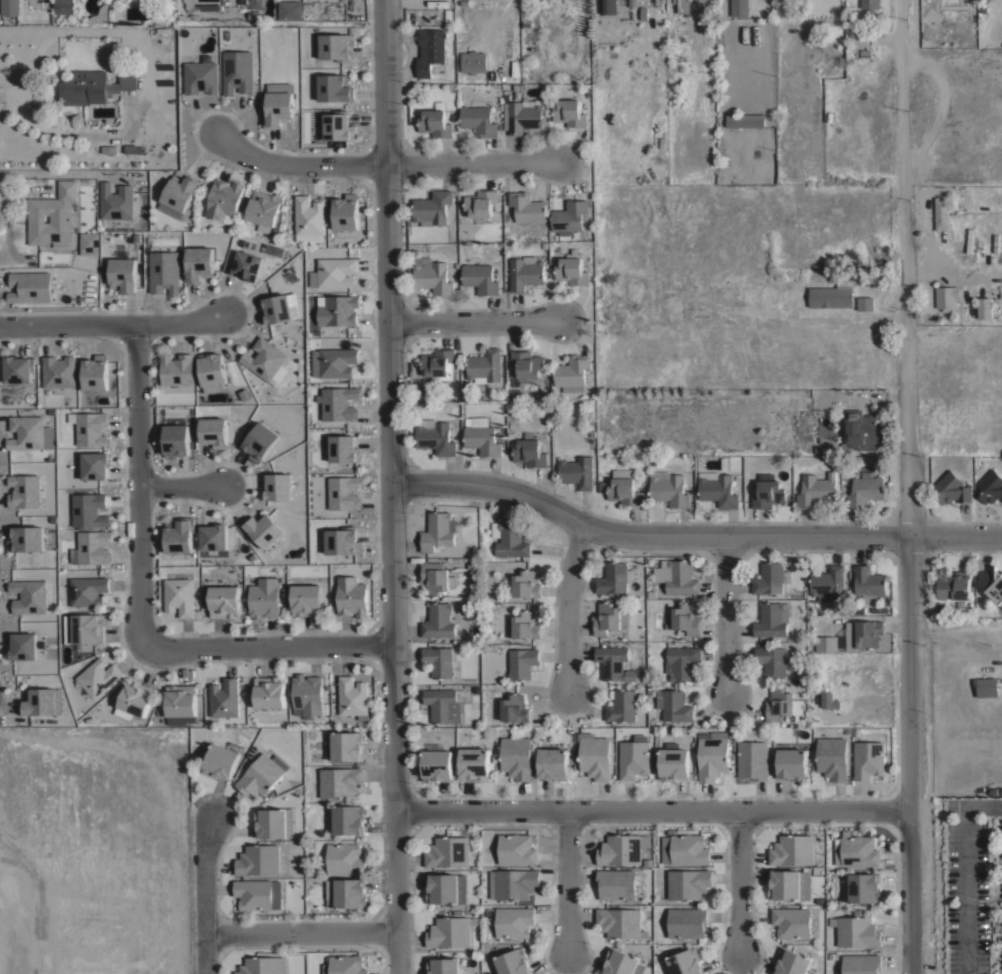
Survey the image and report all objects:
building: (464, 1)
building: (632, 3)
building: (189, 4)
building: (255, 4)
building: (870, 5)
building: (64, 6)
building: (607, 6)
building: (682, 6)
building: (9, 7)
building: (739, 7)
building: (289, 9)
building: (100, 15)
building: (155, 21)
building: (859, 37)
building: (335, 46)
building: (430, 50)
building: (473, 61)
building: (237, 71)
building: (200, 77)
building: (123, 81)
building: (84, 87)
building: (334, 88)
building: (277, 109)
building: (569, 113)
building: (523, 114)
building: (478, 120)
building: (744, 120)
building: (435, 123)
building: (337, 127)
building: (133, 148)
road: (472, 162)
road: (292, 165)
building: (179, 193)
road: (901, 194)
building: (224, 199)
building: (115, 201)
building: (481, 202)
building: (432, 206)
building: (527, 207)
building: (264, 208)
building: (345, 213)
building: (941, 213)
building: (52, 215)
building: (308, 215)
building: (569, 216)
building: (89, 241)
building: (198, 264)
building: (246, 265)
building: (572, 269)
building: (335, 271)
building: (162, 272)
building: (525, 272)
building: (122, 274)
building: (432, 275)
building: (480, 278)
building: (29, 287)
building: (789, 293)
building: (750, 294)
building: (770, 294)
building: (832, 295)
building: (948, 296)
building: (865, 303)
building: (984, 307)
building: (277, 309)
building: (338, 310)
road: (110, 322)
road: (474, 324)
building: (264, 359)
building: (333, 362)
building: (527, 363)
building: (439, 364)
building: (484, 365)
building: (17, 369)
building: (174, 369)
building: (211, 369)
building: (57, 371)
building: (93, 372)
building: (572, 373)
building: (67, 396)
building: (339, 402)
building: (88, 427)
building: (213, 431)
building: (859, 431)
building: (28, 432)
building: (435, 436)
building: (481, 436)
building: (174, 441)
building: (260, 442)
building: (343, 449)
building: (529, 453)
building: (94, 465)
building: (577, 472)
road: (138, 482)
road: (180, 484)
building: (274, 487)
road: (389, 487)
building: (624, 487)
building: (991, 487)
building: (952, 489)
building: (22, 490)
building: (670, 490)
building: (718, 490)
building: (815, 490)
building: (865, 490)
building: (341, 492)
building: (768, 492)
building: (86, 509)
building: (262, 529)
building: (438, 531)
building: (212, 536)
building: (177, 537)
road: (691, 538)
building: (24, 539)
building: (511, 540)
building: (341, 542)
building: (91, 548)
building: (677, 576)
building: (435, 577)
building: (612, 578)
building: (770, 578)
building: (828, 583)
building: (868, 583)
building: (526, 584)
building: (990, 584)
building: (955, 586)
building: (87, 590)
building: (27, 594)
building: (179, 596)
building: (352, 596)
building: (264, 597)
road: (908, 599)
building: (306, 600)
building: (224, 601)
road: (568, 608)
road: (726, 616)
building: (609, 618)
building: (686, 618)
building: (771, 619)
building: (438, 621)
building: (522, 625)
building: (88, 628)
building: (863, 634)
road: (266, 641)
building: (826, 643)
building: (22, 645)
building: (771, 660)
building: (438, 661)
building: (522, 662)
building: (681, 662)
building: (614, 663)
building: (98, 676)
building: (986, 686)
building: (269, 692)
building: (307, 695)
building: (352, 696)
building: (136, 697)
building: (224, 698)
building: (826, 698)
building: (180, 700)
building: (40, 701)
building: (780, 704)
building: (442, 705)
building: (621, 706)
building: (673, 706)
building: (514, 708)
building: (347, 745)
building: (594, 755)
building: (516, 757)
building: (634, 757)
building: (712, 757)
building: (832, 757)
building: (753, 759)
building: (868, 759)
building: (220, 761)
building: (474, 763)
building: (553, 763)
building: (673, 763)
building: (792, 764)
building: (437, 765)
building: (262, 774)
building: (340, 781)
road: (654, 811)
building: (348, 819)
building: (274, 822)
building: (622, 848)
building: (517, 849)
building: (684, 849)
building: (792, 850)
building: (448, 851)
building: (859, 851)
building: (345, 858)
building: (258, 859)
road: (965, 872)
building: (515, 882)
road: (566, 883)
building: (688, 883)
road: (735, 883)
building: (616, 884)
building: (789, 884)
building: (864, 887)
building: (442, 888)
building: (350, 892)
road: (912, 893)
building: (258, 894)
road: (202, 897)
building: (513, 921)
building: (619, 922)
building: (686, 922)
building: (792, 922)
building: (856, 931)
road: (300, 932)
building: (449, 932)
building: (513, 962)
building: (685, 962)
building: (792, 962)
building: (622, 963)
building: (861, 963)
building: (260, 965)
building: (345, 965)
building: (443, 965)

